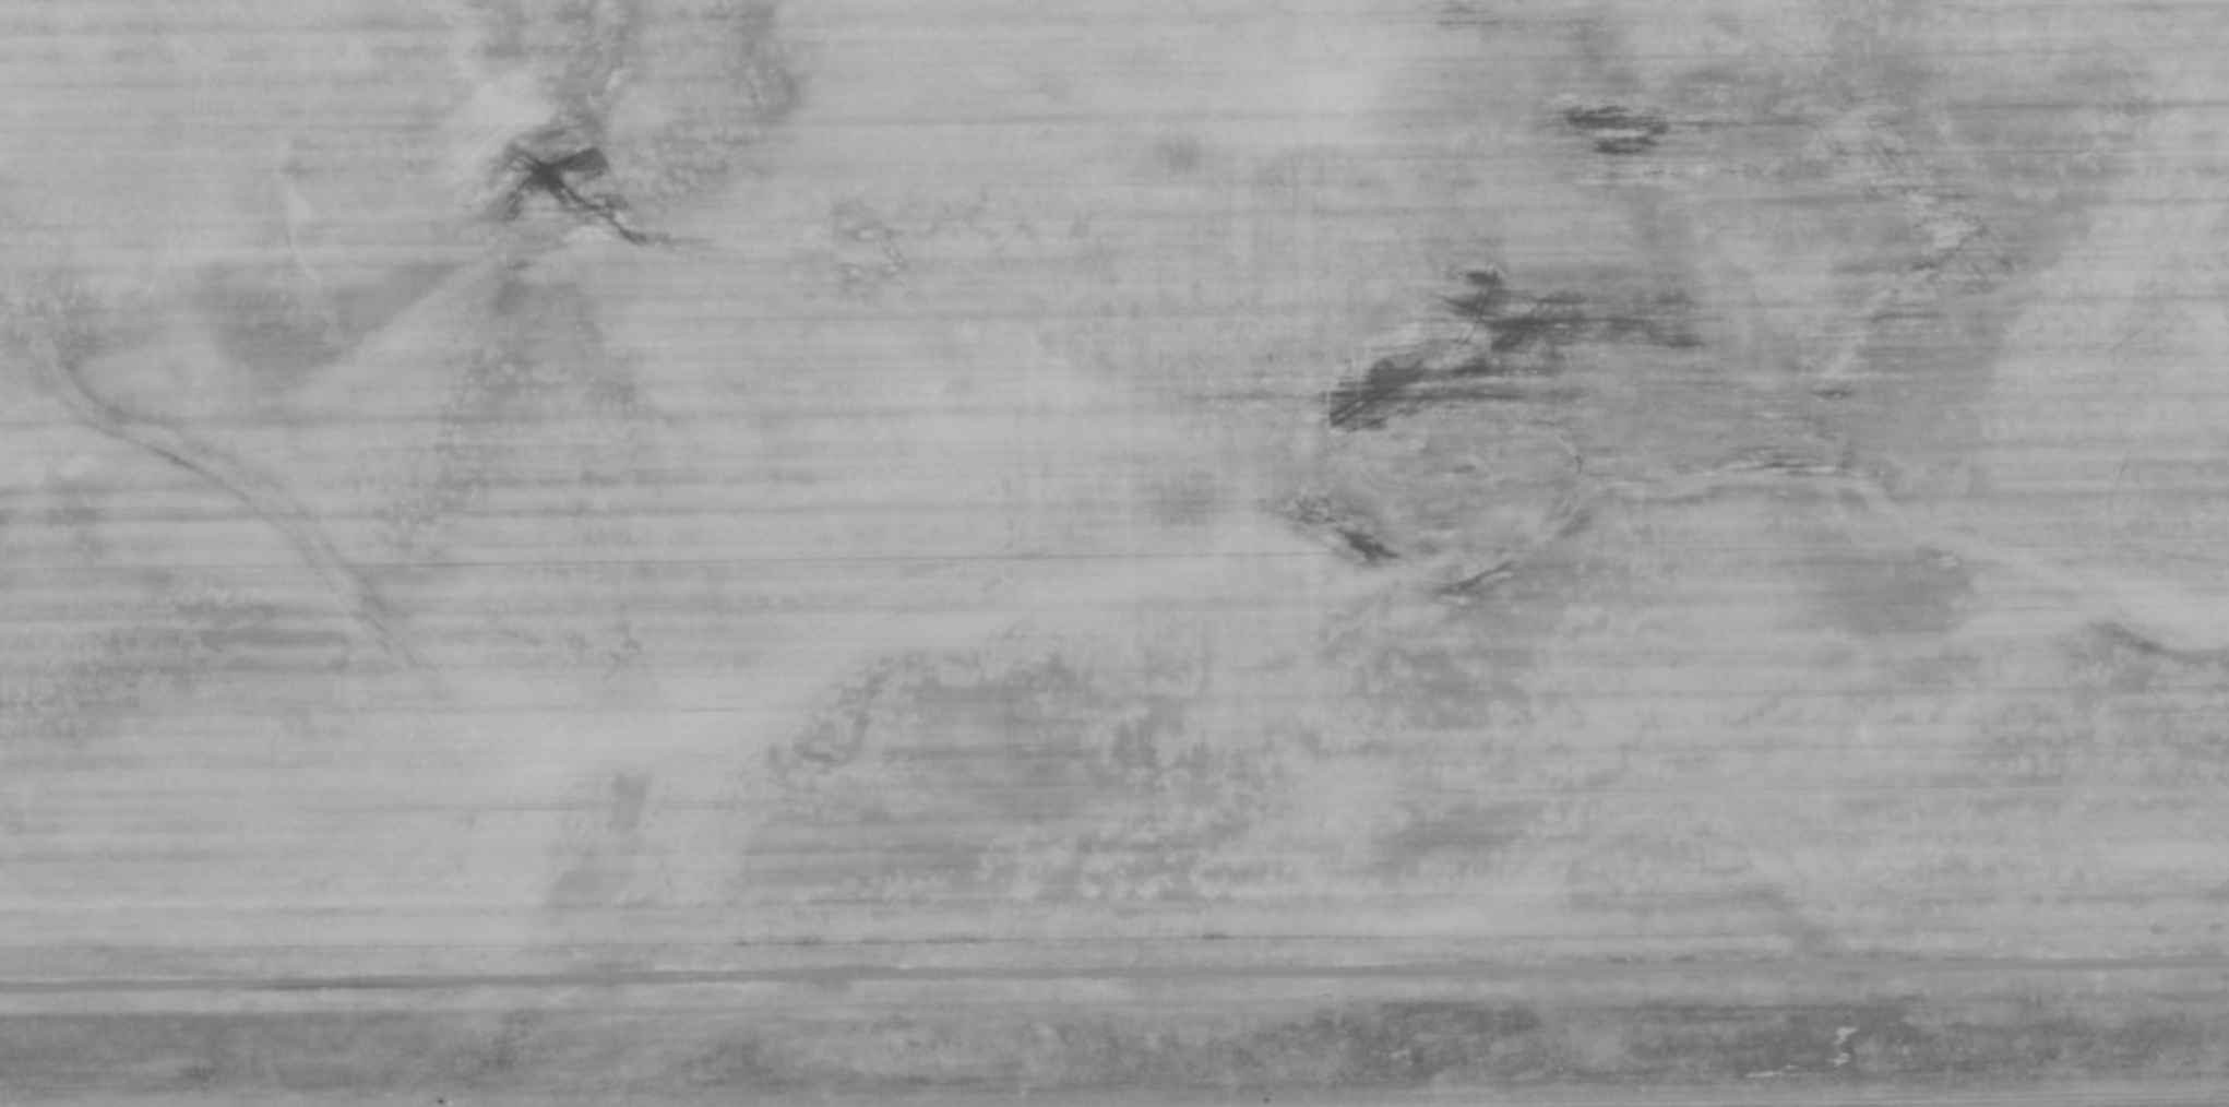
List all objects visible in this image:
road: (1114, 968)

